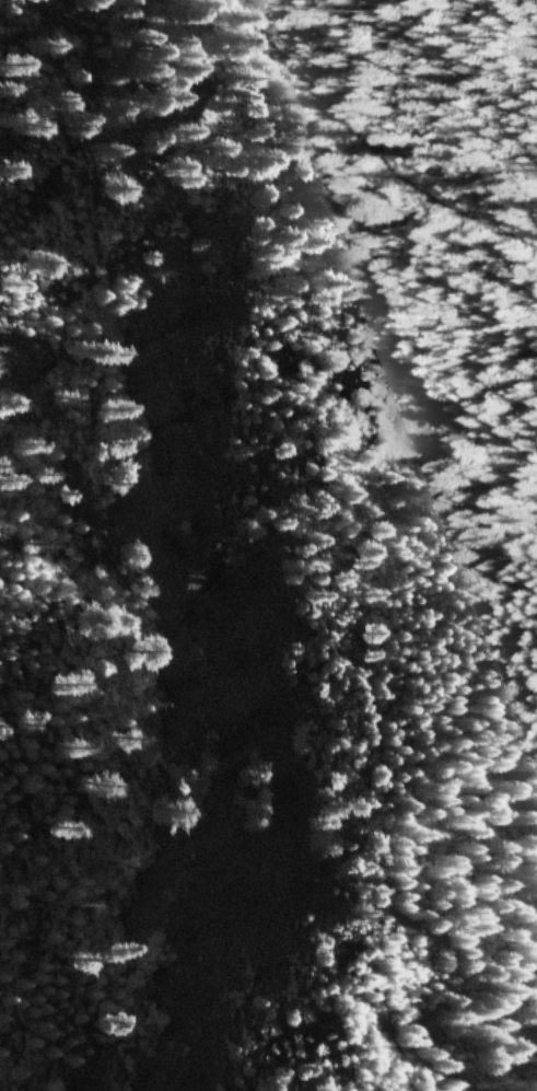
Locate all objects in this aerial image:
road: (362, 141)
road: (393, 364)

